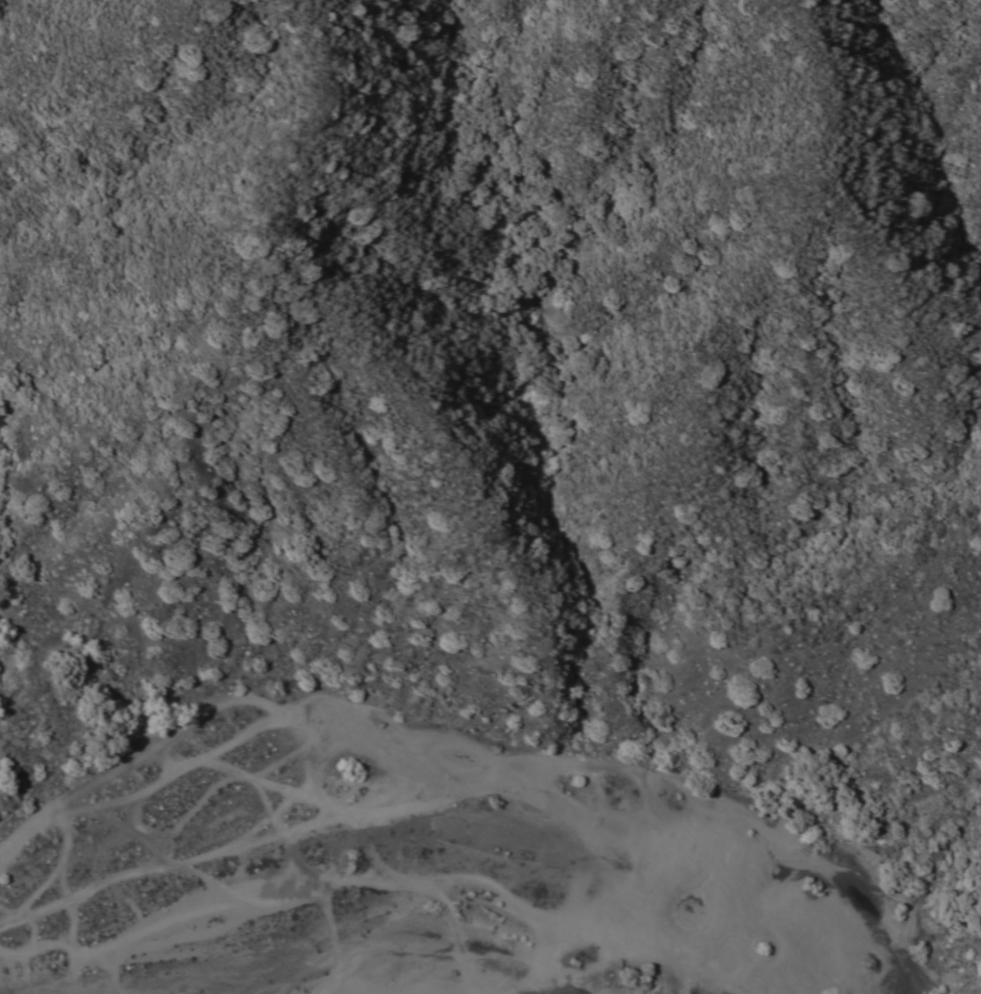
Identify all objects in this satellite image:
road: (415, 799)
road: (477, 961)

